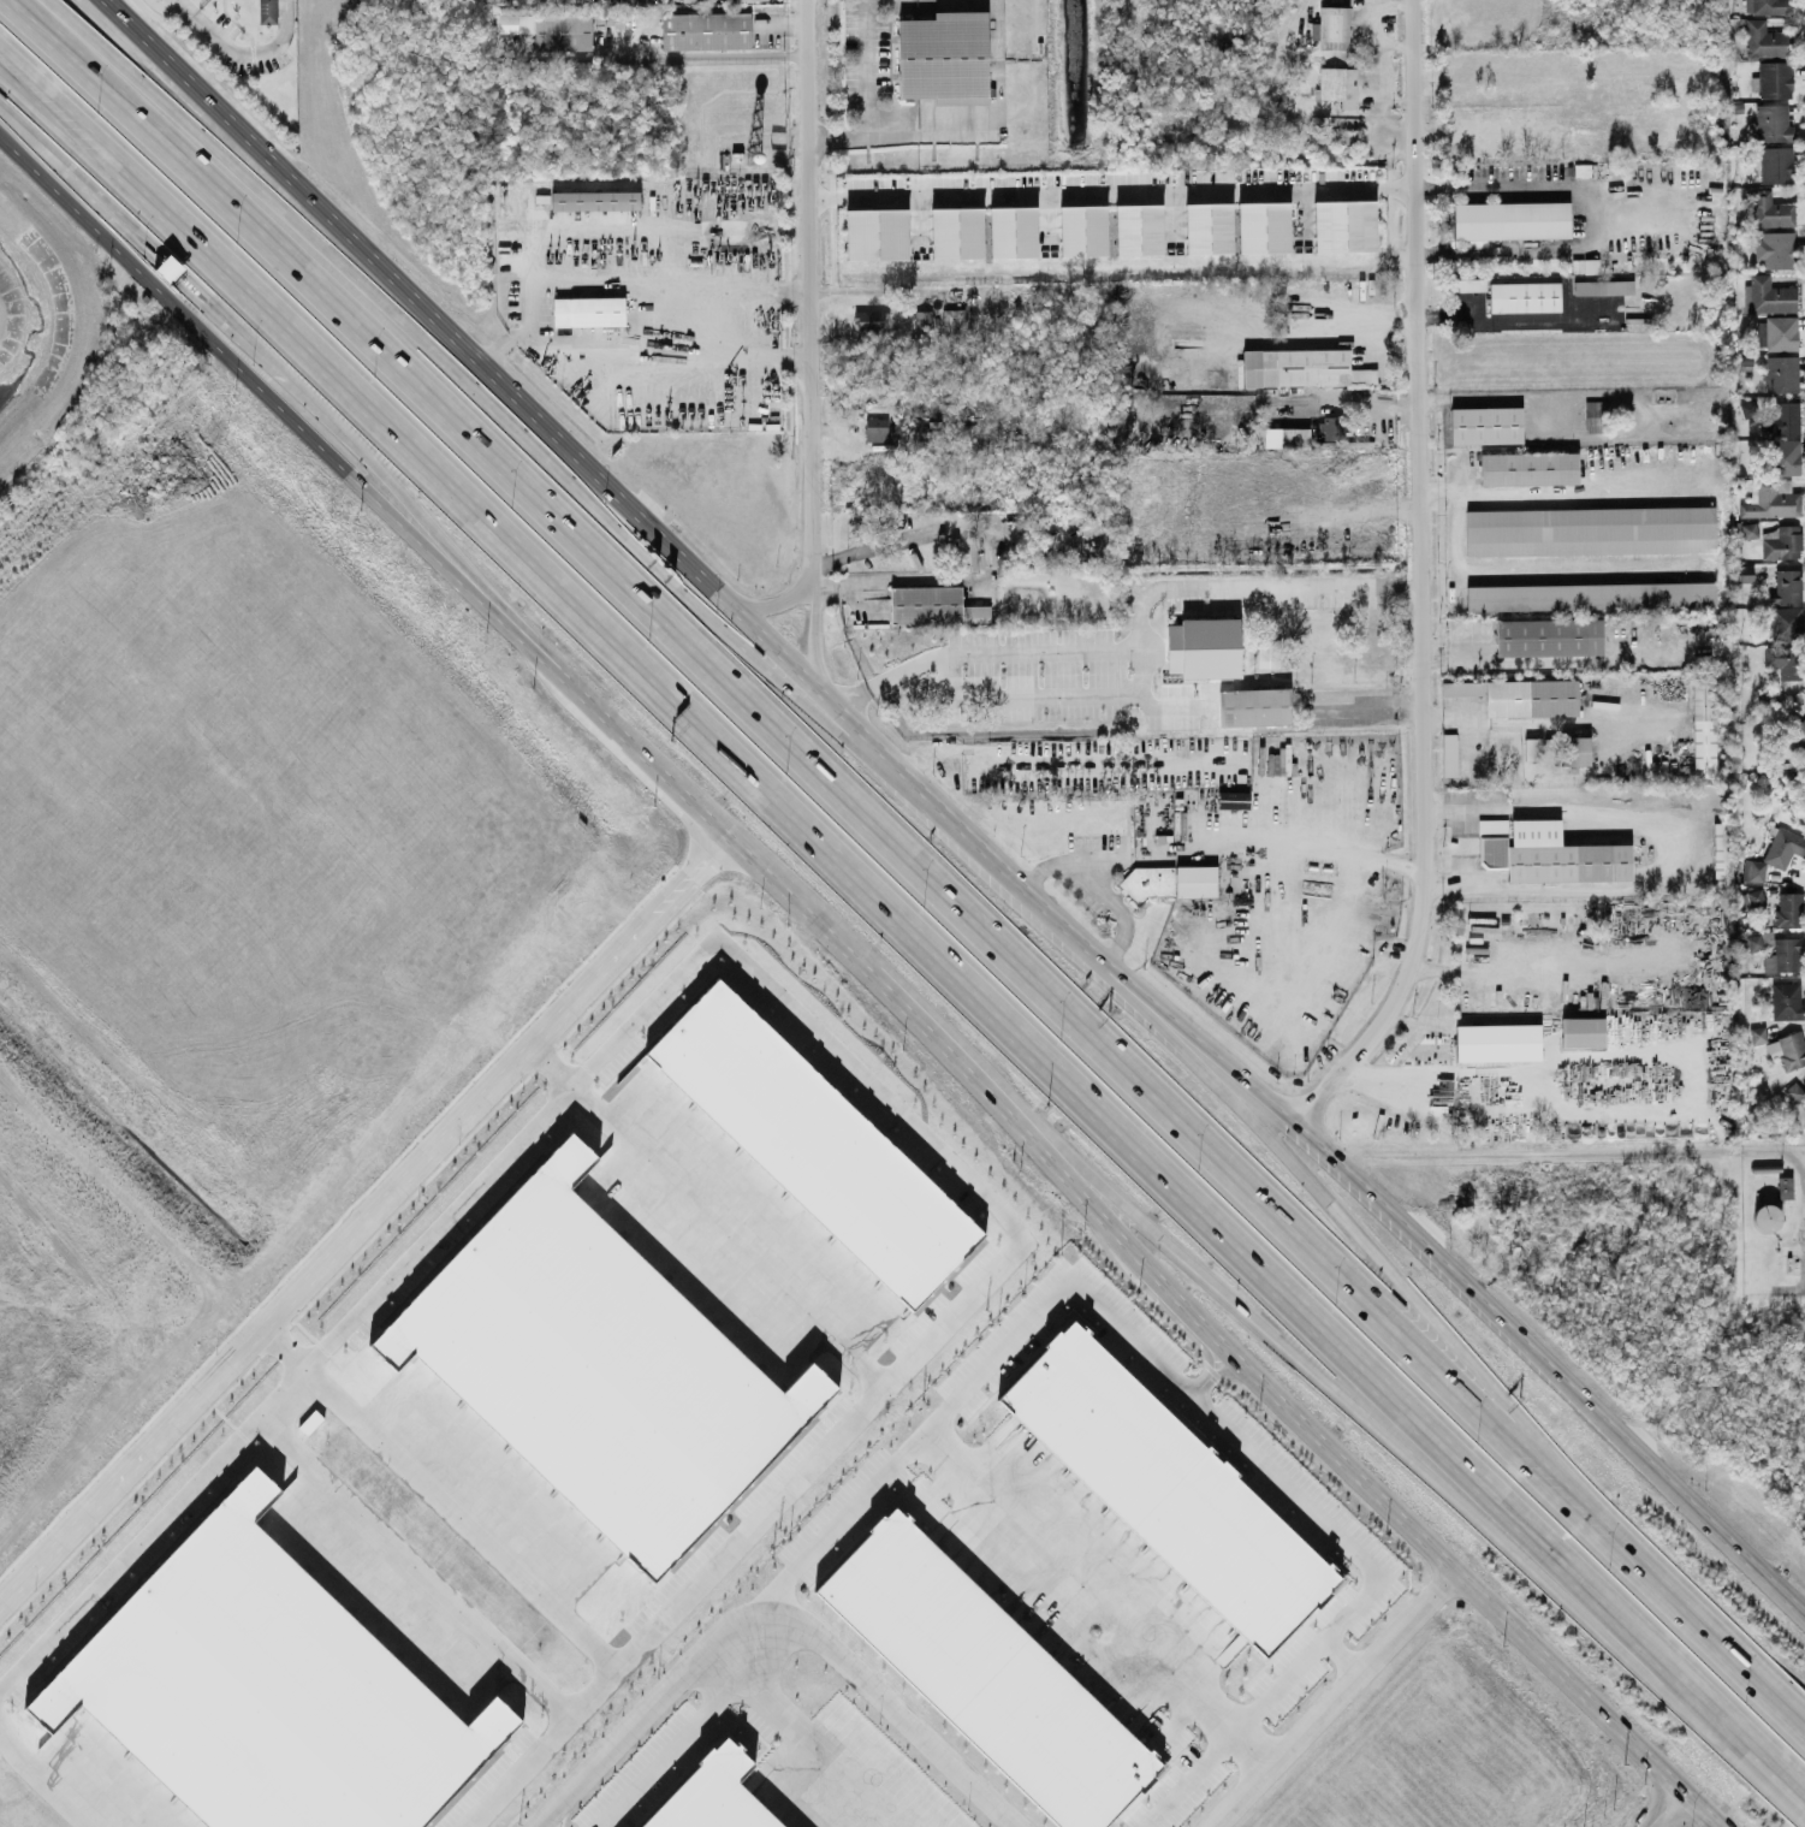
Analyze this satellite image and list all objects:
road: (170, 4)
road: (186, 5)
building: (1767, 6)
building: (268, 11)
road: (785, 22)
road: (996, 24)
building: (1334, 26)
building: (551, 29)
building: (706, 30)
building: (1764, 38)
road: (250, 52)
road: (653, 55)
building: (944, 57)
building: (1775, 78)
building: (1337, 84)
road: (866, 95)
building: (1773, 121)
road: (924, 130)
road: (31, 134)
building: (1776, 164)
road: (1112, 192)
building: (595, 200)
building: (1771, 209)
road: (1590, 216)
road: (117, 219)
building: (1512, 219)
building: (1344, 225)
building: (1264, 226)
building: (1209, 227)
building: (1139, 229)
building: (1082, 230)
building: (1013, 231)
building: (956, 232)
building: (877, 233)
building: (1775, 249)
building: (170, 267)
toll booth: (172, 273)
road: (645, 279)
building: (1467, 284)
building: (1603, 286)
road: (815, 290)
building: (1768, 295)
building: (1525, 296)
building: (589, 310)
road: (1402, 312)
building: (871, 319)
building: (922, 319)
building: (952, 319)
road: (1374, 322)
road: (227, 325)
building: (1776, 333)
road: (646, 336)
road: (1328, 340)
building: (1781, 373)
building: (1747, 409)
building: (1593, 415)
building: (1781, 420)
building: (1486, 425)
building: (875, 428)
building: (1331, 431)
road: (356, 446)
road: (541, 456)
building: (1783, 456)
building: (1528, 468)
road: (1571, 497)
building: (1771, 498)
building: (1091, 526)
building: (1590, 529)
building: (1750, 529)
building: (1783, 542)
road: (1556, 567)
building: (1745, 573)
road: (1419, 579)
toll booth: (671, 580)
road: (897, 580)
building: (1786, 586)
building: (1590, 595)
road: (779, 601)
building: (933, 605)
building: (1787, 623)
road: (814, 635)
building: (1549, 636)
building: (1204, 647)
road: (1128, 648)
building: (1267, 652)
building: (1783, 659)
building: (1462, 688)
road: (1058, 695)
building: (1769, 695)
building: (1531, 698)
road: (1364, 701)
building: (1254, 706)
building: (1704, 725)
building: (1795, 728)
building: (1533, 748)
building: (1574, 749)
building: (1449, 754)
building: (1276, 763)
building: (1234, 799)
road: (950, 812)
road: (861, 813)
building: (1783, 847)
building: (1548, 853)
building: (1723, 856)
road: (1075, 860)
road: (1277, 864)
building: (1753, 870)
building: (1147, 880)
building: (1195, 880)
building: (1752, 896)
building: (1789, 909)
road: (904, 925)
building: (1754, 942)
building: (1783, 955)
road: (1532, 966)
road: (868, 972)
building: (1786, 999)
road: (788, 1014)
building: (1583, 1031)
building: (1758, 1034)
building: (1497, 1042)
building: (1788, 1049)
road: (1629, 1051)
building: (1793, 1091)
road: (1542, 1152)
building: (1785, 1186)
road: (1804, 1190)
building: (1767, 1217)
road: (707, 1218)
road: (364, 1221)
road: (1441, 1327)
road: (1296, 1346)
road: (1218, 1365)
road: (1290, 1483)
building: (1168, 1487)
road: (440, 1501)
road: (414, 1576)
road: (774, 1625)
road: (1347, 1653)
building: (986, 1675)
road: (1754, 1679)
road: (1342, 1697)
road: (792, 1742)
road: (1260, 1743)
road: (670, 1748)
road: (37, 1778)
building: (713, 1795)
road: (1666, 1809)
road: (545, 1825)

